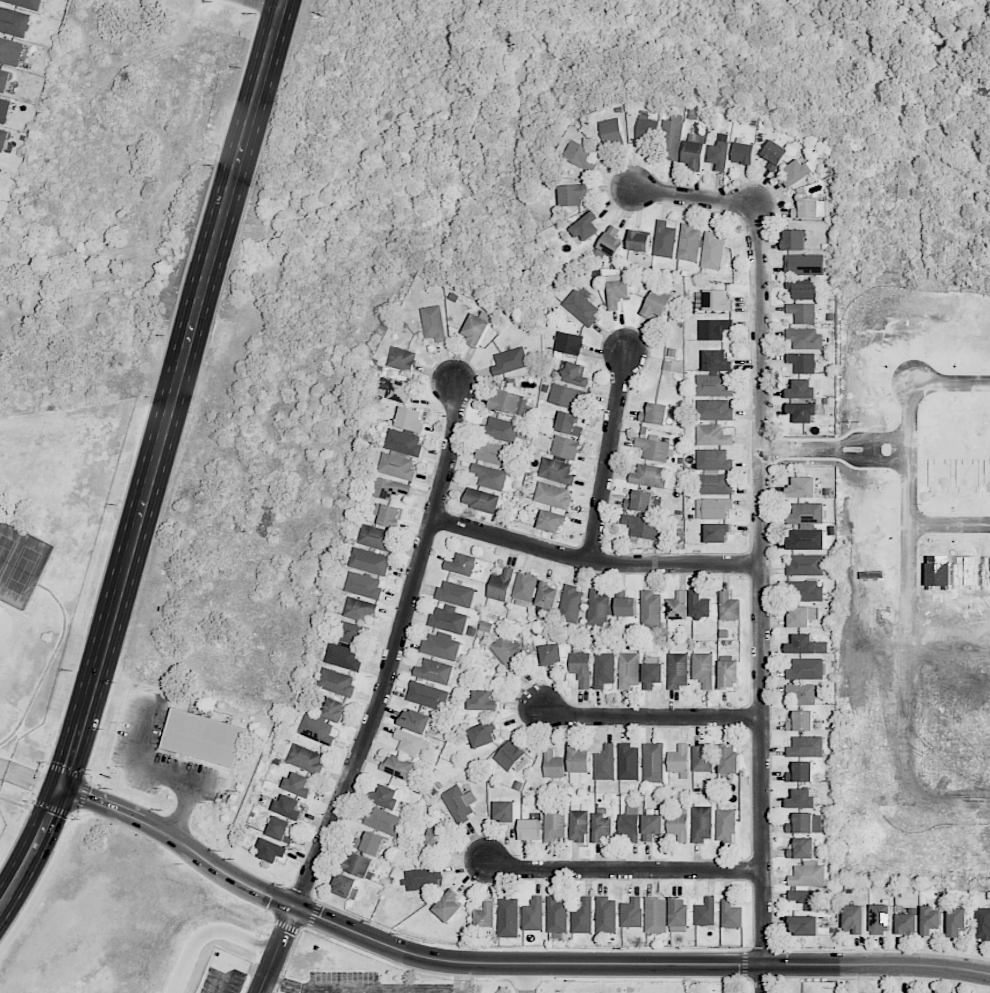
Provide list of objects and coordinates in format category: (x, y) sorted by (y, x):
building: (26, 3)
road: (265, 4)
building: (15, 21)
building: (11, 51)
building: (5, 80)
building: (5, 110)
building: (648, 126)
building: (612, 130)
building: (673, 138)
building: (4, 139)
building: (744, 153)
building: (694, 154)
building: (775, 154)
building: (580, 155)
building: (720, 155)
building: (574, 194)
road: (695, 197)
building: (810, 208)
building: (587, 226)
building: (664, 239)
building: (794, 239)
building: (611, 241)
building: (639, 241)
building: (689, 243)
building: (712, 251)
building: (804, 264)
building: (618, 293)
building: (710, 301)
building: (657, 304)
building: (581, 307)
building: (803, 313)
building: (433, 323)
building: (476, 329)
building: (714, 329)
building: (805, 338)
building: (568, 343)
building: (402, 359)
building: (510, 361)
building: (717, 361)
building: (802, 362)
building: (575, 374)
road: (929, 383)
building: (714, 385)
building: (398, 389)
building: (807, 389)
building: (567, 396)
building: (510, 403)
building: (714, 409)
building: (808, 412)
building: (655, 414)
building: (411, 419)
building: (569, 423)
building: (500, 429)
building: (712, 435)
building: (565, 447)
road: (800, 447)
road: (839, 448)
building: (654, 449)
building: (495, 453)
building: (400, 454)
road: (609, 456)
road: (153, 458)
building: (556, 471)
building: (714, 472)
building: (489, 476)
building: (649, 476)
building: (946, 476)
building: (974, 476)
building: (390, 488)
building: (808, 488)
building: (553, 495)
building: (481, 500)
building: (640, 501)
building: (718, 507)
building: (810, 513)
building: (389, 515)
building: (552, 521)
road: (950, 525)
building: (642, 526)
building: (717, 532)
building: (377, 537)
building: (370, 561)
road: (594, 561)
building: (461, 564)
building: (805, 565)
building: (363, 585)
building: (500, 585)
building: (525, 587)
building: (805, 591)
building: (455, 593)
building: (547, 595)
road: (762, 598)
building: (625, 603)
building: (570, 604)
building: (700, 605)
building: (676, 606)
building: (728, 607)
building: (598, 608)
building: (651, 608)
building: (360, 609)
building: (801, 616)
building: (449, 619)
park: (3, 622)
building: (353, 632)
building: (806, 645)
building: (440, 646)
road: (397, 649)
building: (508, 652)
building: (551, 654)
building: (343, 656)
road: (910, 656)
building: (581, 668)
building: (603, 669)
building: (703, 669)
building: (806, 669)
building: (628, 670)
building: (677, 670)
building: (434, 671)
building: (652, 672)
building: (729, 674)
building: (336, 681)
building: (804, 693)
building: (427, 695)
building: (483, 701)
road: (650, 717)
building: (323, 721)
building: (415, 721)
building: (801, 721)
building: (484, 734)
building: (202, 738)
building: (411, 743)
building: (806, 746)
building: (509, 755)
building: (306, 758)
building: (702, 758)
building: (729, 759)
building: (679, 760)
building: (578, 762)
building: (628, 762)
building: (653, 762)
building: (605, 763)
building: (553, 764)
building: (397, 767)
building: (801, 772)
road: (30, 778)
building: (299, 784)
traffic signals: (61, 789)
building: (385, 796)
building: (801, 799)
building: (460, 803)
building: (288, 807)
building: (505, 811)
building: (384, 821)
building: (554, 823)
building: (629, 823)
building: (702, 823)
building: (807, 823)
building: (603, 824)
building: (679, 824)
building: (726, 825)
building: (578, 826)
building: (652, 826)
building: (281, 829)
building: (530, 829)
building: (436, 840)
building: (373, 843)
building: (804, 849)
building: (272, 850)
building: (360, 865)
road: (625, 871)
building: (422, 878)
building: (808, 885)
building: (346, 886)
building: (449, 906)
building: (679, 912)
building: (706, 912)
building: (632, 913)
building: (533, 914)
building: (731, 914)
building: (556, 915)
building: (606, 915)
building: (656, 915)
building: (582, 916)
building: (508, 917)
building: (881, 918)
building: (484, 919)
building: (853, 919)
building: (930, 920)
building: (956, 921)
building: (982, 923)
building: (906, 924)
building: (804, 925)
road: (208, 931)
road: (278, 949)
road: (506, 964)
road: (250, 968)
road: (225, 977)
road: (462, 977)
road: (525, 978)
road: (363, 991)

